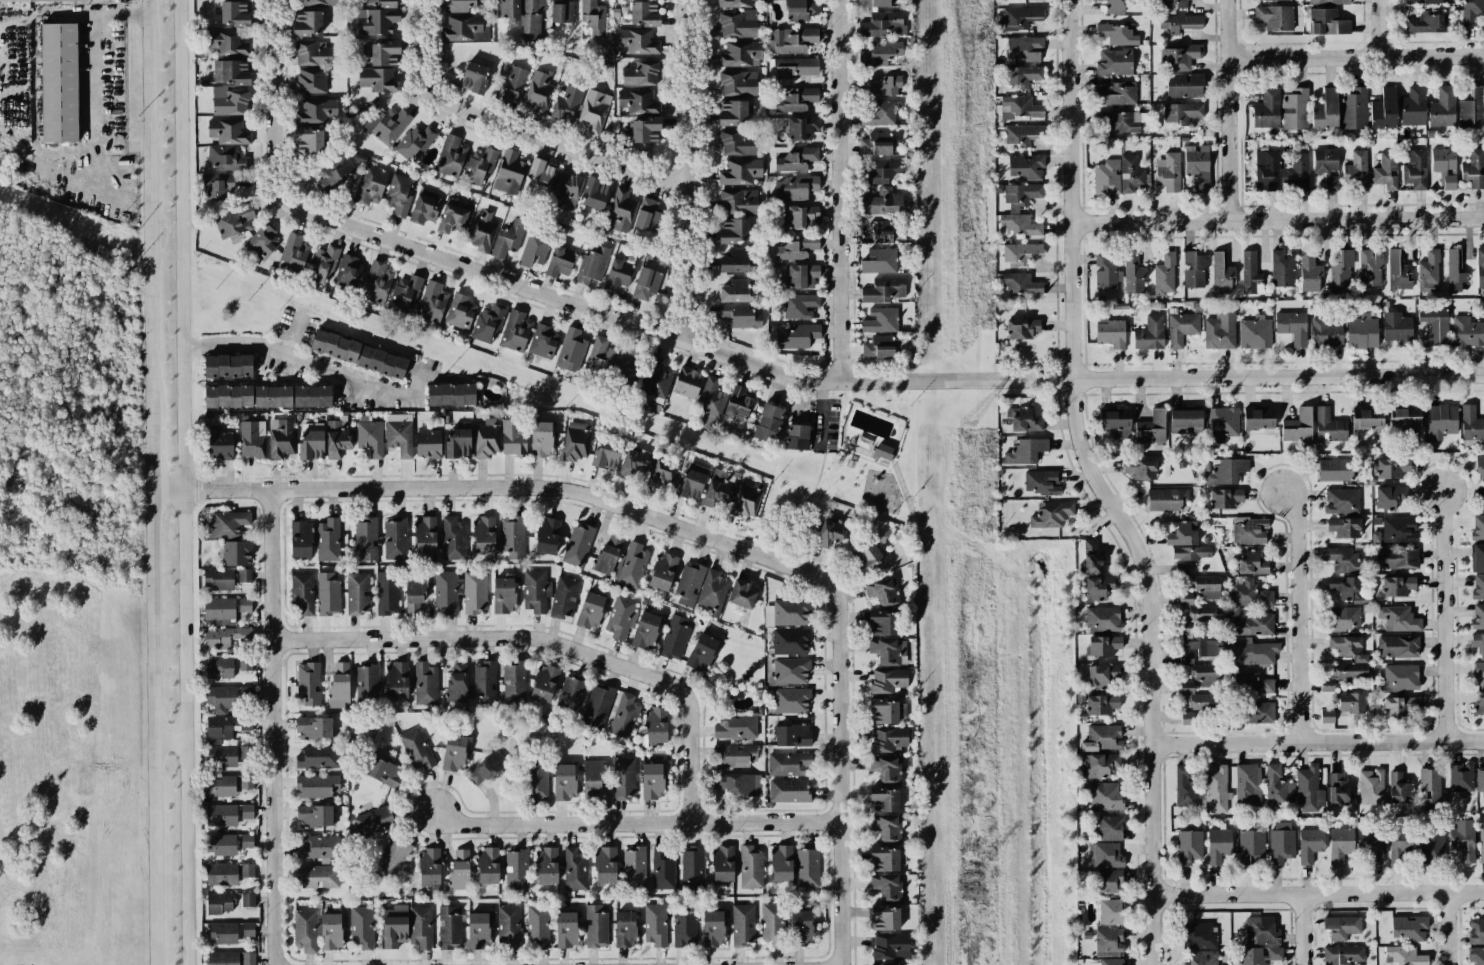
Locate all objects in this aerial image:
building: (37, 0)
building: (1263, 0)
building: (1423, 1)
building: (320, 2)
building: (1328, 2)
building: (381, 3)
building: (733, 3)
building: (873, 3)
building: (1173, 4)
building: (457, 5)
building: (1113, 6)
building: (508, 9)
building: (800, 10)
building: (561, 11)
building: (1471, 11)
building: (234, 13)
building: (644, 13)
building: (531, 17)
building: (594, 17)
building: (1020, 17)
building: (1274, 17)
building: (376, 21)
building: (1180, 22)
building: (1327, 22)
building: (307, 23)
building: (737, 23)
building: (1426, 23)
building: (882, 25)
building: (465, 28)
road: (1380, 28)
building: (1117, 34)
building: (793, 39)
building: (636, 41)
building: (227, 42)
road: (422, 46)
building: (1025, 48)
building: (384, 52)
building: (880, 53)
building: (312, 54)
building: (740, 54)
road: (1356, 56)
building: (1178, 57)
building: (1114, 62)
building: (796, 67)
building: (231, 72)
building: (639, 73)
building: (1021, 75)
building: (474, 77)
building: (376, 79)
road: (101, 80)
building: (310, 80)
building: (59, 82)
building: (511, 83)
building: (738, 83)
building: (1184, 85)
building: (879, 86)
building: (538, 93)
building: (1118, 94)
building: (795, 99)
building: (229, 101)
building: (568, 102)
building: (637, 102)
road: (273, 103)
building: (1413, 106)
building: (1018, 107)
building: (1442, 107)
building: (1267, 108)
building: (1294, 109)
building: (1354, 109)
building: (1384, 109)
building: (1472, 109)
road: (1230, 110)
building: (1325, 110)
building: (316, 111)
building: (594, 111)
building: (735, 112)
building: (1181, 112)
building: (876, 113)
building: (1123, 122)
building: (389, 125)
building: (801, 127)
building: (643, 130)
building: (1022, 134)
building: (309, 140)
road: (556, 140)
building: (415, 141)
building: (738, 143)
building: (227, 144)
building: (875, 144)
building: (450, 156)
building: (796, 159)
building: (478, 165)
building: (1198, 165)
building: (1026, 166)
building: (1326, 166)
building: (1444, 167)
building: (1415, 169)
building: (1474, 169)
building: (1356, 170)
building: (334, 171)
road: (687, 171)
building: (740, 171)
building: (882, 171)
building: (1281, 171)
building: (1386, 171)
building: (509, 172)
building: (1168, 172)
building: (1130, 174)
building: (540, 175)
building: (1106, 177)
building: (370, 185)
building: (217, 186)
building: (794, 187)
road: (839, 189)
road: (1074, 189)
building: (566, 191)
building: (595, 194)
building: (398, 195)
building: (738, 201)
building: (881, 202)
building: (425, 206)
building: (1013, 210)
building: (620, 211)
road: (148, 212)
building: (647, 215)
building: (797, 216)
building: (452, 217)
road: (1279, 219)
building: (234, 220)
building: (733, 231)
road: (164, 233)
building: (481, 233)
building: (876, 233)
building: (507, 239)
building: (262, 241)
building: (796, 248)
building: (533, 250)
building: (294, 252)
building: (1020, 253)
building: (735, 261)
building: (879, 261)
building: (559, 262)
building: (321, 265)
building: (593, 266)
building: (1370, 267)
building: (1480, 267)
building: (1282, 268)
building: (1193, 270)
building: (1454, 270)
building: (349, 271)
building: (1106, 271)
building: (1341, 271)
building: (1398, 271)
building: (1310, 272)
building: (1428, 272)
building: (1221, 273)
building: (1250, 273)
building: (1133, 274)
building: (1164, 274)
building: (802, 275)
building: (376, 282)
building: (645, 283)
building: (1020, 283)
building: (883, 290)
building: (736, 291)
building: (405, 293)
building: (432, 302)
building: (799, 306)
building: (460, 311)
building: (739, 315)
building: (880, 320)
building: (488, 323)
building: (1435, 324)
building: (1292, 326)
building: (1396, 327)
building: (1022, 328)
building: (1181, 328)
building: (1220, 329)
building: (515, 330)
building: (1110, 332)
building: (1362, 332)
building: (1467, 332)
building: (1150, 333)
building: (1254, 333)
building: (1327, 333)
building: (798, 336)
road: (672, 337)
building: (542, 341)
building: (335, 345)
building: (878, 348)
building: (570, 350)
building: (600, 352)
road: (295, 359)
building: (381, 362)
building: (228, 365)
building: (627, 369)
road: (1279, 377)
building: (656, 378)
building: (687, 382)
road: (411, 383)
building: (450, 394)
building: (228, 396)
building: (272, 396)
building: (311, 396)
building: (711, 397)
building: (738, 403)
road: (821, 414)
building: (1258, 418)
building: (1405, 418)
building: (1368, 419)
building: (1025, 420)
building: (1185, 420)
building: (1441, 421)
building: (1115, 422)
building: (767, 423)
power tower: (965, 423)
building: (1222, 423)
building: (1471, 423)
parking lot: (826, 424)
building: (1329, 426)
building: (1151, 428)
building: (1298, 428)
building: (399, 433)
building: (370, 436)
building: (796, 437)
building: (252, 438)
building: (281, 438)
building: (486, 438)
building: (512, 438)
building: (336, 439)
building: (541, 439)
building: (311, 441)
building: (575, 441)
building: (219, 443)
building: (428, 443)
building: (458, 443)
building: (1025, 450)
building: (882, 451)
building: (605, 454)
road: (853, 455)
road: (150, 457)
building: (638, 460)
building: (1391, 467)
building: (1480, 467)
building: (1140, 469)
building: (1223, 470)
building: (1335, 470)
building: (661, 474)
building: (691, 481)
road: (181, 482)
building: (1041, 482)
road: (501, 486)
building: (1389, 497)
building: (1225, 498)
building: (1166, 499)
building: (1341, 500)
building: (746, 501)
road: (799, 509)
building: (1050, 514)
building: (227, 524)
building: (1344, 527)
building: (1477, 527)
building: (512, 528)
building: (1399, 529)
building: (1249, 530)
building: (829, 531)
building: (1183, 534)
building: (425, 535)
building: (546, 536)
building: (395, 538)
building: (300, 539)
building: (328, 539)
building: (453, 539)
building: (364, 540)
building: (577, 545)
building: (1190, 552)
building: (236, 553)
building: (608, 553)
building: (1092, 557)
building: (1398, 557)
building: (865, 558)
building: (1478, 558)
building: (1343, 559)
building: (1253, 563)
building: (630, 565)
building: (1181, 569)
building: (662, 571)
building: (244, 575)
building: (218, 578)
building: (689, 583)
building: (1397, 585)
building: (1207, 586)
building: (1478, 586)
building: (1344, 587)
building: (1098, 588)
building: (445, 591)
building: (535, 591)
building: (713, 591)
building: (882, 591)
building: (474, 592)
building: (357, 593)
building: (387, 593)
building: (302, 594)
building: (327, 594)
building: (742, 594)
building: (1249, 594)
building: (414, 595)
building: (503, 595)
building: (564, 597)
building: (1185, 598)
building: (224, 610)
building: (590, 610)
building: (790, 612)
building: (1478, 615)
road: (1299, 616)
building: (620, 617)
building: (1199, 617)
road: (1444, 617)
building: (1344, 618)
building: (1398, 618)
building: (1102, 619)
building: (882, 622)
building: (1253, 624)
building: (646, 630)
building: (226, 637)
road: (551, 638)
building: (674, 638)
building: (790, 641)
building: (1478, 643)
building: (1102, 645)
building: (1398, 646)
building: (1198, 647)
building: (1348, 647)
building: (885, 651)
building: (701, 652)
building: (1254, 652)
road: (1152, 663)
building: (244, 664)
building: (219, 667)
building: (789, 672)
building: (1478, 673)
building: (1103, 674)
building: (1204, 674)
building: (1344, 674)
building: (1400, 677)
building: (397, 680)
building: (457, 680)
building: (514, 680)
building: (887, 680)
building: (368, 682)
building: (483, 682)
building: (308, 683)
building: (425, 683)
building: (544, 683)
building: (339, 684)
building: (1251, 684)
building: (244, 691)
building: (569, 696)
building: (1197, 697)
building: (221, 698)
building: (790, 700)
building: (1350, 703)
building: (1478, 704)
building: (597, 705)
building: (1102, 705)
building: (1400, 706)
building: (888, 711)
building: (1256, 712)
building: (624, 715)
building: (1327, 716)
building: (1186, 718)
building: (655, 725)
building: (735, 726)
road: (151, 727)
building: (225, 727)
road: (274, 727)
building: (314, 727)
building: (792, 735)
building: (888, 738)
building: (1102, 738)
road: (1319, 742)
building: (416, 749)
building: (453, 752)
building: (221, 755)
building: (734, 755)
building: (317, 756)
building: (789, 763)
building: (1099, 765)
building: (886, 767)
building: (485, 768)
building: (383, 771)
road: (840, 774)
building: (591, 777)
building: (1460, 777)
building: (623, 778)
building: (1479, 779)
building: (652, 781)
building: (536, 782)
building: (564, 782)
building: (1430, 782)
building: (737, 783)
building: (220, 785)
building: (1187, 785)
building: (1247, 785)
building: (316, 786)
building: (1370, 786)
building: (1278, 787)
building: (1398, 788)
building: (1216, 789)
building: (1309, 789)
building: (1338, 789)
building: (789, 790)
building: (1105, 796)
building: (884, 799)
building: (246, 811)
building: (220, 815)
building: (314, 816)
building: (373, 821)
road: (634, 821)
building: (886, 828)
building: (1110, 828)
building: (246, 840)
building: (1481, 841)
building: (1281, 842)
building: (1432, 842)
building: (1400, 843)
building: (1462, 843)
building: (220, 844)
building: (1340, 844)
building: (1370, 844)
building: (1218, 845)
building: (1310, 845)
building: (319, 846)
building: (1189, 846)
building: (1251, 846)
building: (1107, 855)
building: (392, 858)
building: (884, 858)
building: (781, 863)
building: (692, 864)
building: (722, 864)
building: (488, 865)
building: (605, 865)
building: (429, 866)
building: (546, 866)
building: (807, 866)
building: (663, 867)
building: (750, 867)
building: (575, 868)
building: (459, 869)
building: (516, 869)
building: (633, 869)
building: (246, 870)
building: (221, 874)
building: (318, 876)
power tower: (969, 880)
building: (1106, 880)
building: (887, 886)
road: (1319, 892)
building: (247, 900)
building: (220, 903)
building: (1110, 911)
building: (885, 917)
building: (771, 923)
building: (508, 924)
building: (655, 924)
building: (743, 924)
building: (595, 925)
building: (361, 926)
building: (394, 926)
building: (420, 926)
building: (537, 926)
building: (449, 927)
building: (801, 927)
building: (1341, 927)
building: (1409, 927)
building: (684, 928)
building: (713, 928)
road: (1449, 928)
building: (248, 929)
building: (479, 929)
building: (566, 929)
building: (624, 929)
road: (1302, 929)
building: (305, 930)
building: (331, 930)
building: (1475, 930)
building: (1261, 931)
building: (221, 933)
building: (1198, 936)
building: (1109, 940)
building: (891, 946)
building: (1343, 954)
building: (1260, 955)
building: (1476, 955)
building: (1403, 956)
building: (223, 958)
building: (248, 958)
building: (1201, 958)
building: (1112, 961)
building: (887, 964)

